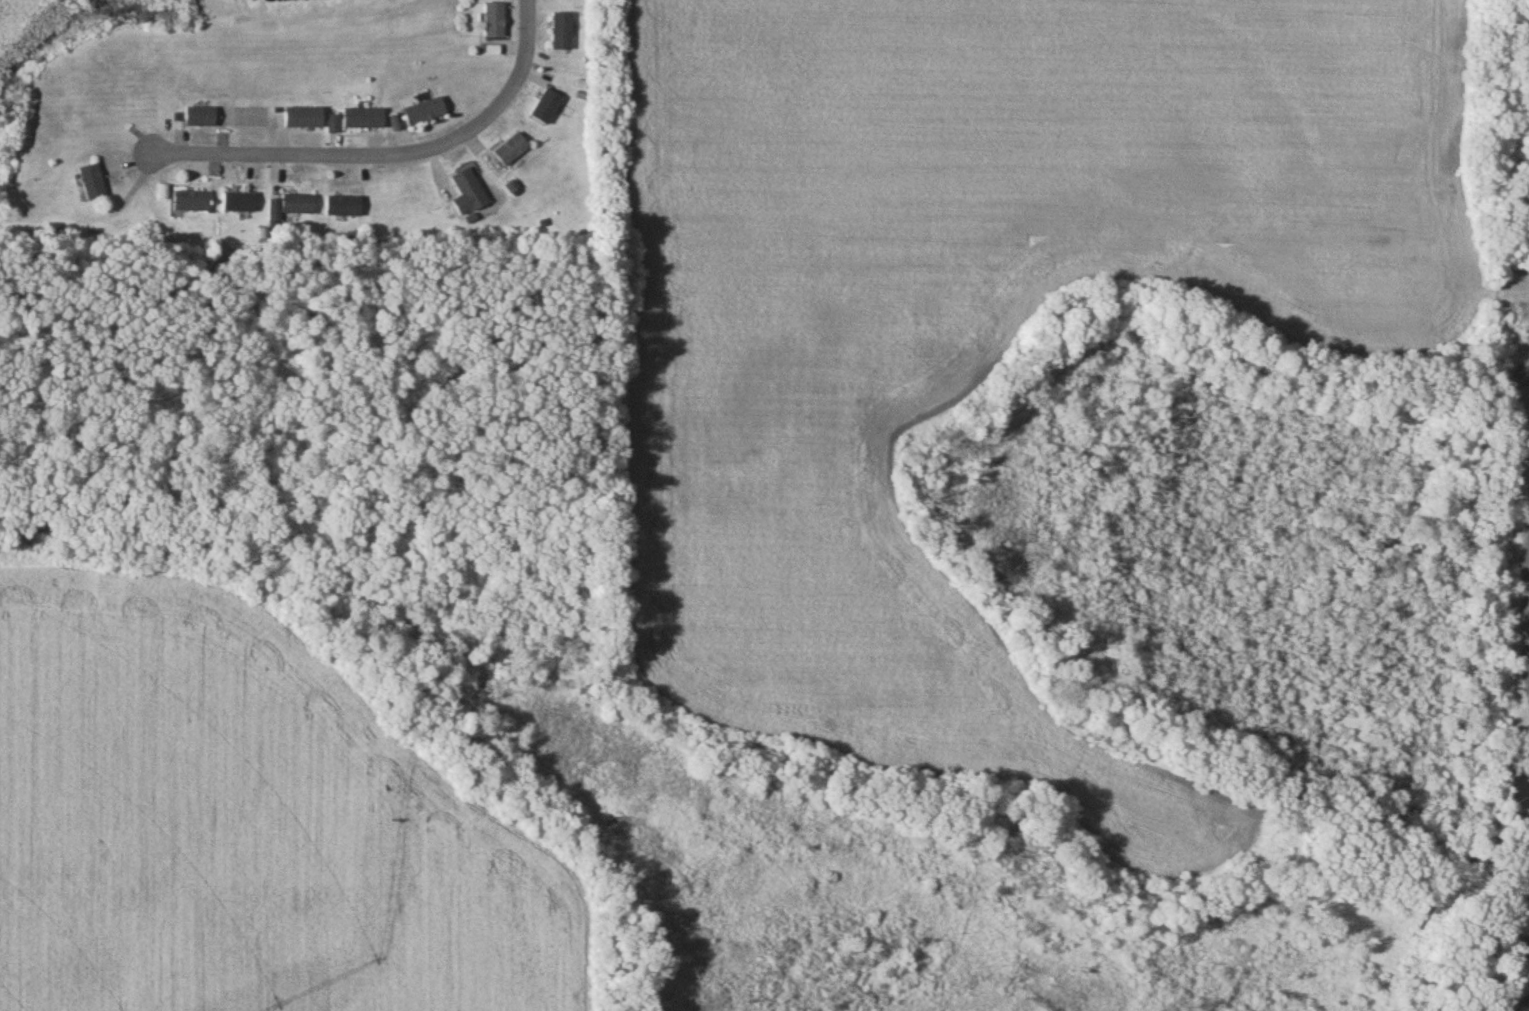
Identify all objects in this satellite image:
road: (528, 19)
building: (491, 21)
building: (559, 32)
building: (420, 112)
building: (197, 117)
building: (300, 118)
building: (360, 118)
building: (330, 123)
building: (508, 150)
road: (365, 153)
building: (88, 182)
building: (464, 193)
building: (187, 202)
building: (236, 203)
building: (288, 207)
building: (340, 207)

